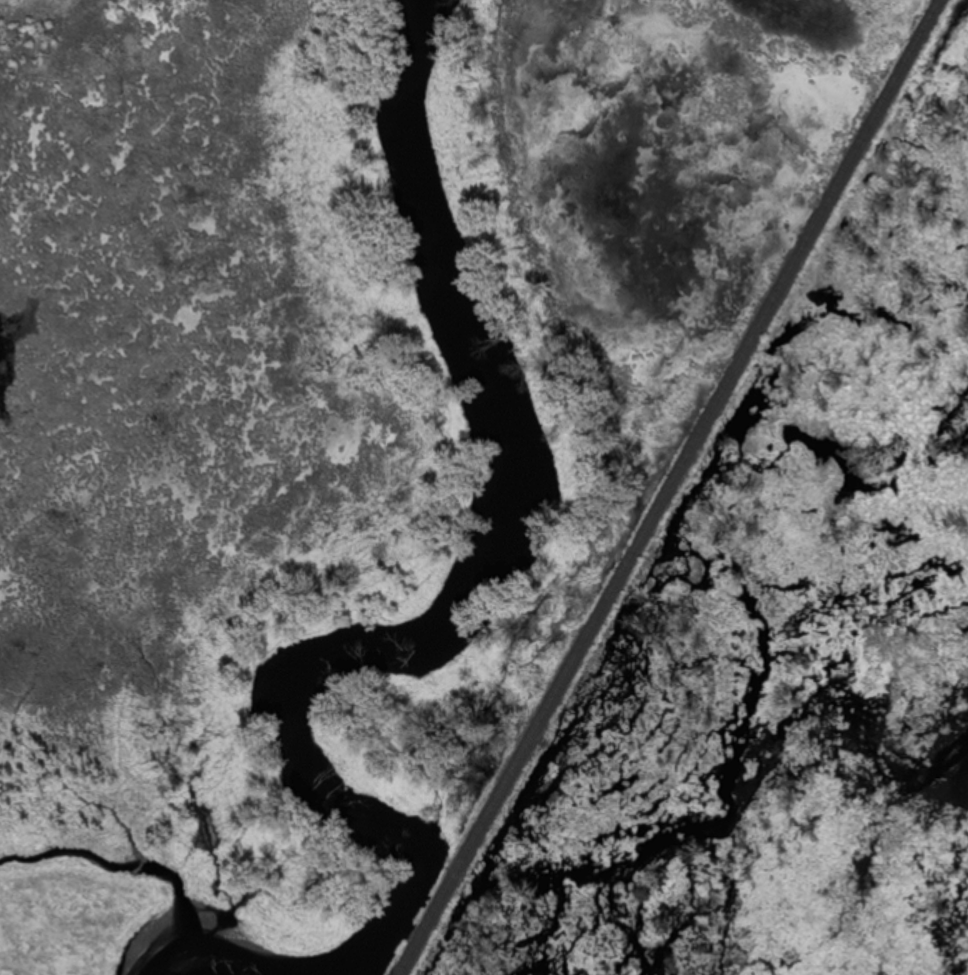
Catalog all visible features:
railway: (649, 487)
river: (400, 626)

